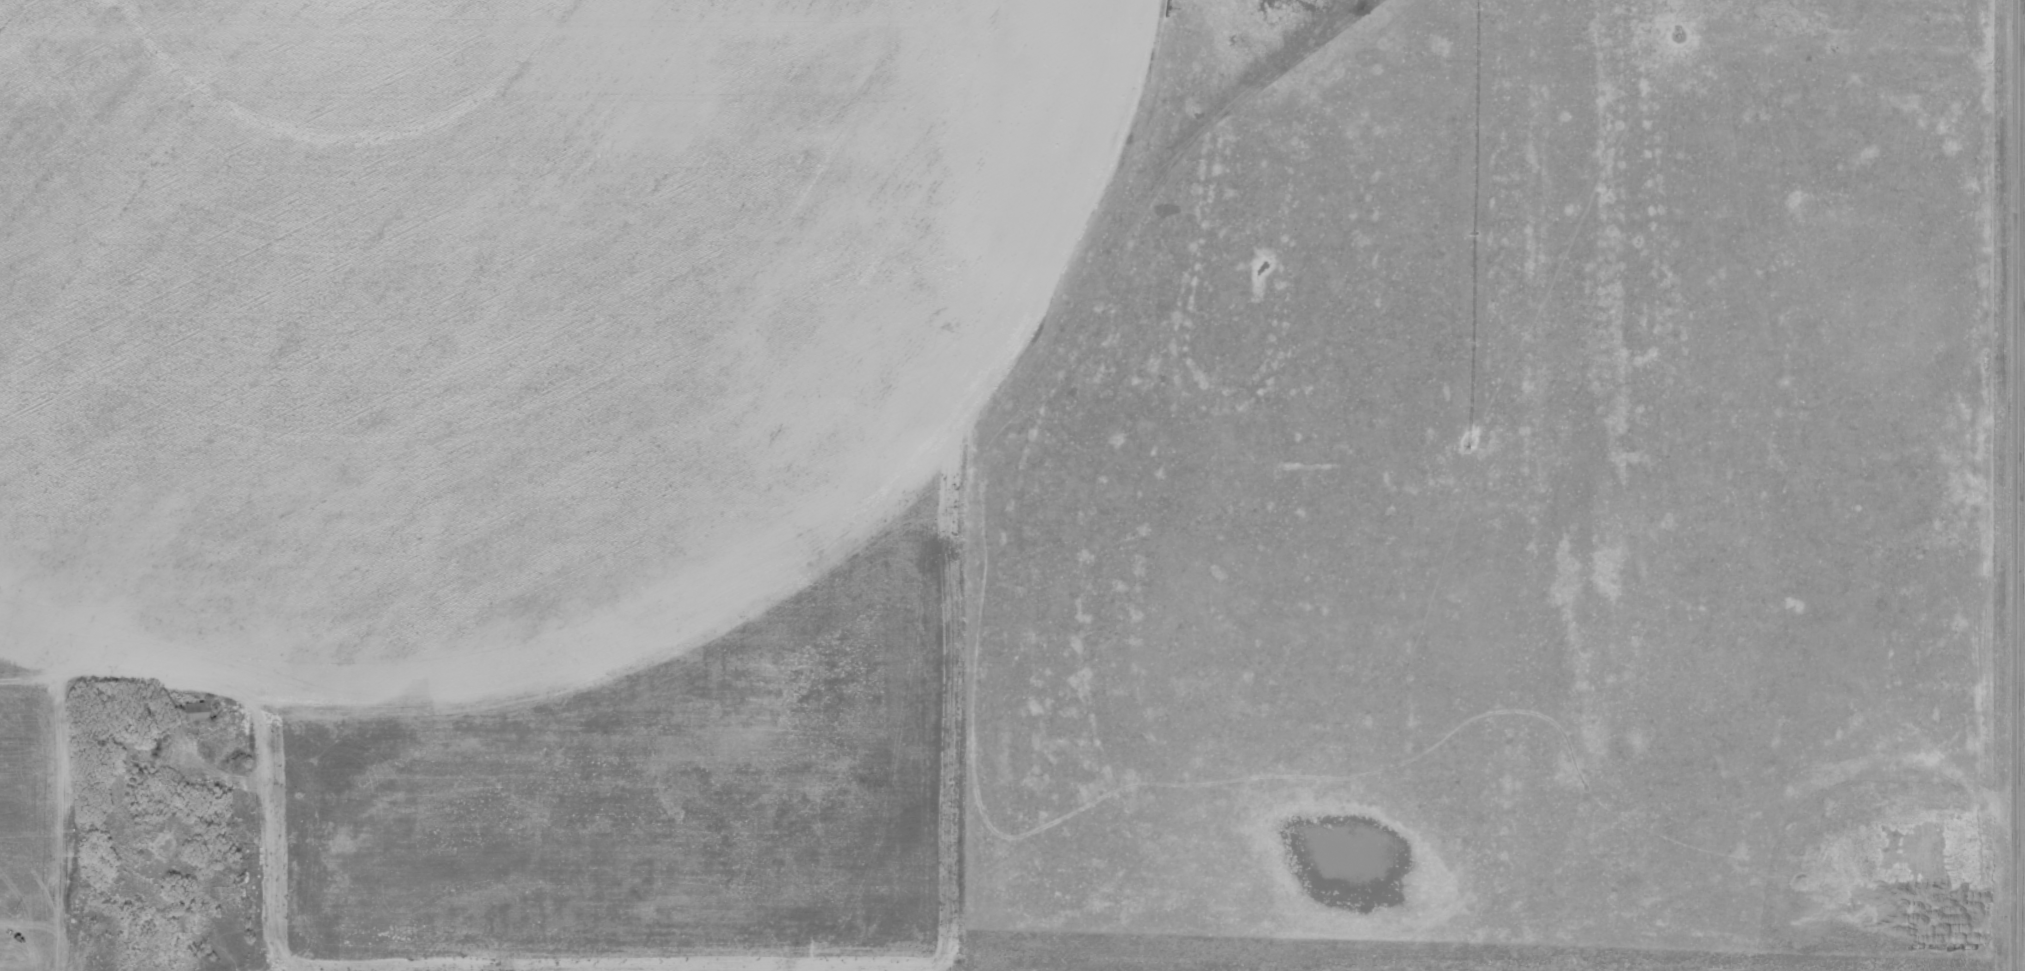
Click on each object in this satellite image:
road: (2019, 485)
building: (196, 711)

